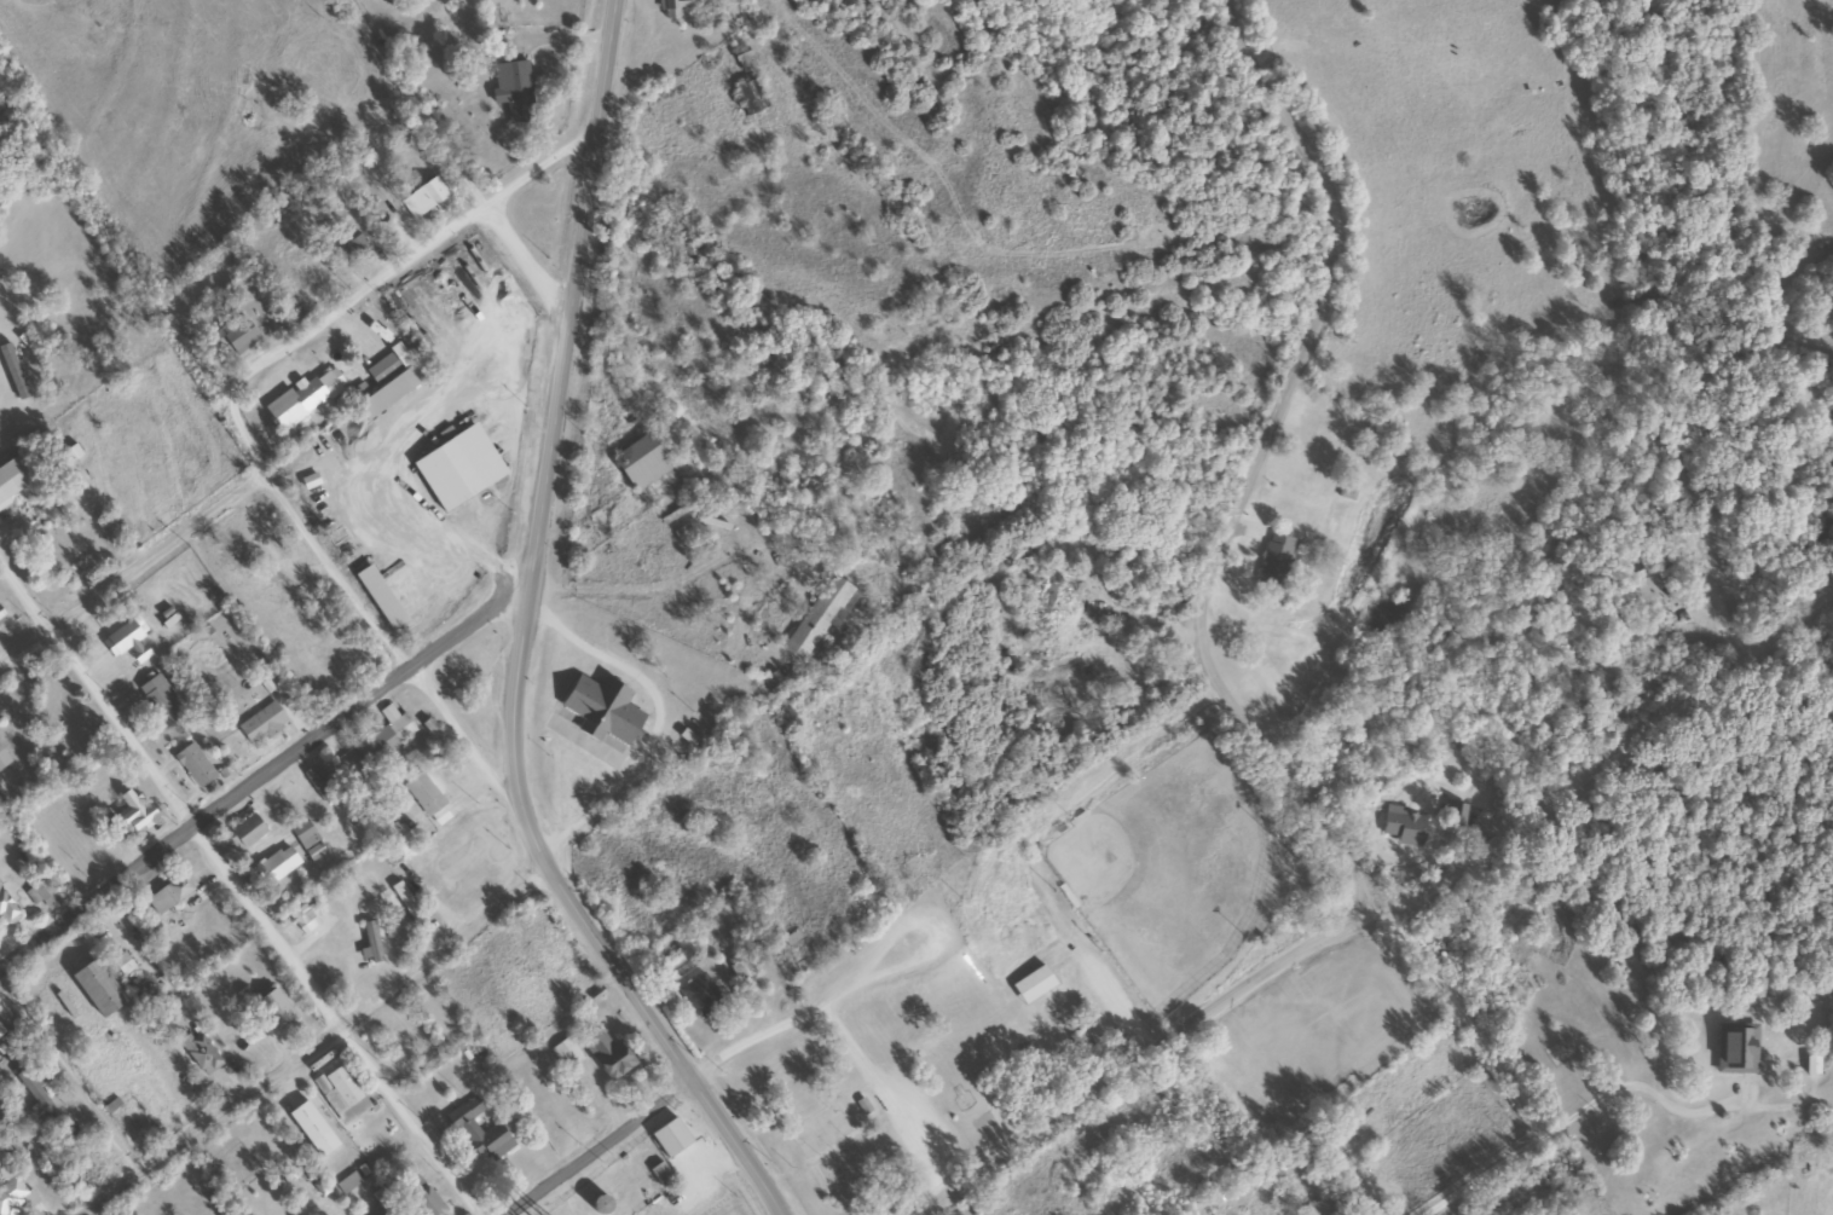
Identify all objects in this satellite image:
building: (672, 7)
building: (741, 59)
building: (510, 89)
building: (747, 97)
road: (434, 169)
building: (422, 198)
building: (354, 249)
road: (364, 276)
building: (235, 335)
building: (384, 366)
road: (559, 395)
building: (300, 399)
building: (70, 453)
building: (637, 463)
road: (1225, 469)
building: (441, 476)
building: (57, 551)
building: (232, 552)
building: (1273, 561)
road: (132, 569)
building: (303, 592)
building: (1047, 600)
building: (322, 617)
building: (1, 618)
building: (813, 619)
road: (394, 635)
building: (123, 640)
building: (160, 699)
building: (597, 710)
building: (260, 723)
building: (382, 735)
building: (2, 758)
building: (192, 764)
road: (274, 768)
building: (422, 792)
building: (133, 812)
building: (1455, 812)
building: (1404, 828)
building: (244, 832)
building: (403, 839)
building: (307, 840)
building: (274, 864)
road: (1392, 890)
road: (236, 891)
building: (42, 895)
building: (406, 904)
building: (6, 912)
building: (303, 915)
building: (370, 941)
building: (741, 968)
park: (1031, 971)
building: (1031, 984)
building: (94, 988)
building: (699, 995)
building: (272, 1006)
road: (643, 1006)
building: (1, 1032)
road: (317, 1048)
building: (197, 1052)
building: (565, 1053)
building: (606, 1054)
road: (715, 1064)
road: (1503, 1069)
road: (69, 1077)
building: (36, 1092)
building: (340, 1093)
building: (464, 1127)
railway: (63, 1144)
railway: (1733, 1161)
building: (659, 1174)
building: (346, 1182)
building: (11, 1192)
building: (424, 1202)
building: (595, 1203)
building: (1329, 1204)
building: (377, 1211)

